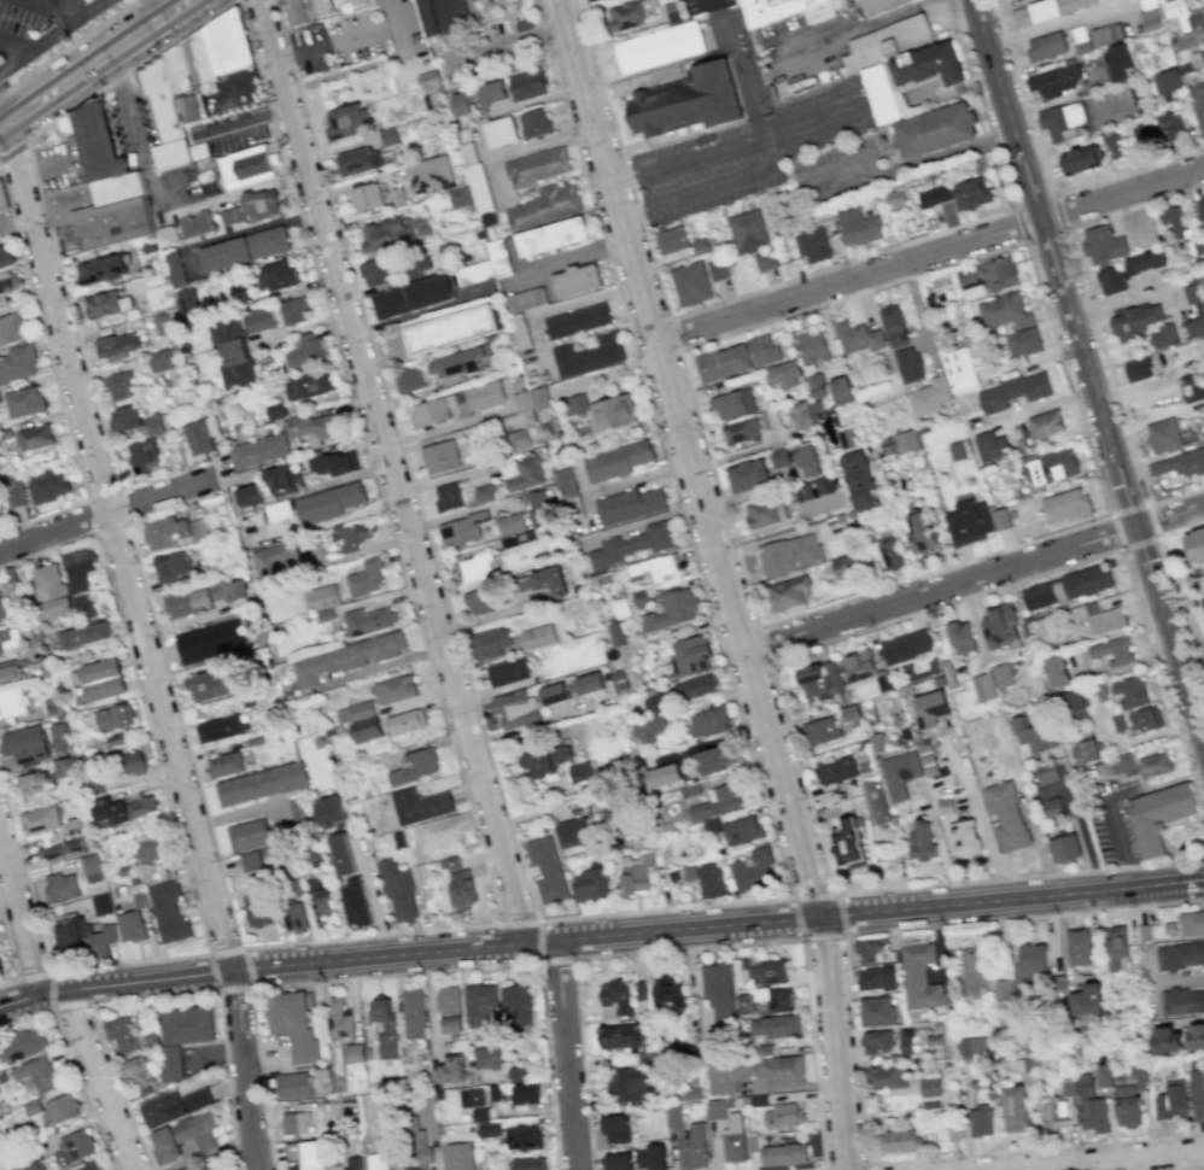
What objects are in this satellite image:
building: (607, 0)
building: (362, 4)
building: (882, 7)
road: (54, 8)
road: (156, 8)
building: (326, 8)
building: (771, 10)
building: (297, 12)
building: (1052, 12)
building: (631, 14)
building: (1183, 14)
building: (442, 16)
building: (1150, 19)
parking lot: (30, 21)
road: (1071, 23)
road: (878, 25)
road: (380, 29)
building: (1100, 35)
road: (53, 36)
building: (227, 42)
road: (513, 43)
building: (887, 43)
road: (68, 46)
parking lot: (802, 46)
building: (1045, 46)
road: (14, 47)
building: (659, 48)
road: (293, 51)
parking lot: (309, 51)
building: (1202, 54)
building: (1118, 60)
road: (92, 62)
road: (738, 65)
building: (927, 69)
road: (130, 70)
building: (189, 76)
building: (1054, 80)
building: (427, 81)
building: (1167, 81)
road: (242, 83)
building: (527, 84)
road: (953, 88)
parking lot: (233, 92)
building: (492, 93)
building: (881, 95)
road: (1023, 98)
building: (462, 103)
building: (692, 103)
road: (981, 103)
building: (1197, 103)
road: (2, 113)
parking lot: (822, 116)
building: (166, 118)
building: (1060, 118)
road: (241, 119)
building: (347, 121)
road: (808, 122)
building: (534, 123)
building: (1171, 124)
parking lot: (230, 129)
road: (134, 130)
building: (501, 131)
building: (935, 133)
building: (1142, 134)
building: (98, 142)
parking lot: (146, 147)
road: (11, 150)
road: (768, 152)
road: (922, 159)
building: (1081, 159)
building: (360, 162)
parking lot: (59, 163)
building: (246, 166)
building: (537, 166)
road: (42, 169)
parking lot: (843, 171)
road: (1128, 172)
building: (428, 175)
building: (477, 183)
road: (236, 193)
building: (971, 194)
building: (934, 195)
building: (364, 197)
building: (458, 197)
building: (2, 198)
road: (1033, 201)
building: (262, 205)
road: (1133, 205)
building: (545, 206)
building: (101, 210)
building: (1200, 210)
road: (1058, 211)
building: (232, 215)
road: (13, 218)
building: (1175, 221)
road: (1019, 222)
parking lot: (5, 223)
building: (195, 223)
building: (858, 227)
building: (394, 232)
building: (166, 234)
road: (1044, 234)
building: (551, 235)
building: (752, 238)
building: (671, 240)
building: (812, 244)
building: (1103, 244)
building: (244, 248)
road: (930, 253)
building: (6, 256)
building: (498, 257)
building: (1145, 262)
building: (174, 268)
building: (103, 269)
building: (718, 269)
building: (374, 271)
building: (474, 273)
building: (279, 275)
building: (987, 277)
building: (577, 280)
building: (1110, 280)
building: (8, 281)
building: (690, 283)
building: (411, 297)
building: (526, 299)
building: (106, 304)
building: (188, 304)
building: (1196, 305)
building: (293, 310)
road: (683, 311)
building: (1004, 311)
road: (70, 314)
road: (924, 316)
building: (259, 320)
building: (577, 320)
building: (1134, 321)
building: (163, 323)
building: (893, 324)
building: (451, 328)
building: (11, 329)
road: (672, 333)
road: (712, 337)
building: (858, 337)
building: (1162, 337)
building: (1023, 341)
building: (117, 344)
building: (812, 345)
building: (305, 350)
building: (232, 353)
building: (589, 355)
building: (736, 358)
building: (160, 361)
building: (460, 362)
building: (17, 364)
building: (907, 364)
road: (1105, 365)
building: (1136, 368)
building: (959, 369)
road: (1088, 369)
building: (783, 374)
road: (1068, 378)
building: (409, 379)
road: (54, 381)
building: (816, 385)
building: (119, 386)
building: (310, 386)
building: (1191, 386)
building: (1013, 390)
building: (841, 391)
building: (929, 396)
building: (24, 402)
building: (577, 403)
building: (733, 403)
building: (457, 404)
building: (276, 410)
building: (613, 413)
building: (800, 416)
building: (527, 417)
building: (124, 419)
building: (1045, 423)
building: (152, 426)
building: (315, 427)
building: (740, 431)
building: (1163, 434)
building: (201, 435)
building: (35, 437)
building: (906, 440)
building: (990, 447)
building: (258, 450)
building: (958, 450)
building: (144, 455)
building: (440, 456)
building: (778, 458)
building: (806, 458)
building: (616, 461)
building: (334, 463)
building: (1180, 464)
building: (1053, 467)
road: (393, 469)
building: (526, 473)
building: (748, 475)
building: (281, 479)
building: (858, 480)
building: (565, 484)
building: (47, 485)
building: (823, 485)
building: (13, 492)
building: (484, 493)
building: (249, 496)
building: (448, 496)
road: (1175, 496)
building: (333, 502)
building: (630, 504)
building: (1066, 505)
building: (538, 507)
road: (1128, 509)
road: (106, 510)
building: (277, 510)
building: (766, 513)
building: (999, 519)
road: (1152, 519)
building: (968, 520)
building: (510, 523)
road: (779, 527)
road: (1180, 528)
building: (461, 530)
road: (95, 531)
building: (174, 531)
building: (920, 532)
road: (1115, 532)
building: (351, 536)
road: (1138, 542)
building: (632, 544)
road: (115, 545)
building: (1196, 545)
building: (889, 550)
road: (362, 551)
building: (789, 554)
building: (275, 562)
building: (846, 566)
building: (171, 567)
building: (473, 568)
building: (655, 568)
building: (77, 569)
road: (934, 572)
road: (975, 577)
building: (366, 578)
building: (548, 579)
road: (725, 580)
building: (47, 581)
building: (522, 583)
building: (1068, 586)
road: (408, 589)
building: (235, 590)
building: (788, 592)
road: (1182, 595)
building: (321, 597)
building: (195, 598)
building: (478, 601)
building: (83, 604)
building: (57, 607)
building: (1, 609)
building: (672, 609)
building: (326, 615)
building: (1101, 619)
building: (368, 620)
building: (996, 625)
building: (82, 634)
building: (537, 637)
building: (960, 637)
road: (826, 639)
building: (10, 640)
building: (210, 642)
building: (490, 643)
road: (762, 643)
building: (906, 645)
building: (1112, 651)
building: (690, 656)
building: (346, 657)
building: (859, 666)
building: (507, 671)
building: (1057, 671)
building: (8, 672)
building: (1001, 675)
building: (101, 679)
building: (819, 679)
building: (589, 683)
road: (1162, 683)
building: (212, 684)
building: (695, 686)
building: (983, 686)
building: (394, 689)
building: (1129, 692)
building: (553, 694)
building: (654, 701)
building: (12, 702)
building: (1074, 703)
building: (512, 707)
building: (931, 708)
building: (112, 718)
building: (360, 720)
building: (1138, 720)
building: (404, 721)
building: (709, 721)
building: (221, 727)
building: (649, 729)
building: (819, 731)
road: (183, 733)
building: (1033, 735)
building: (59, 737)
road: (1136, 739)
building: (24, 744)
building: (1085, 751)
building: (717, 759)
building: (547, 760)
building: (133, 762)
building: (1122, 764)
building: (224, 765)
building: (1153, 765)
building: (415, 766)
building: (64, 767)
building: (835, 771)
building: (580, 772)
building: (1048, 772)
building: (662, 774)
building: (899, 774)
building: (34, 782)
building: (261, 783)
road: (1111, 797)
building: (718, 802)
building: (420, 805)
building: (1053, 807)
building: (123, 808)
building: (329, 812)
building: (1158, 813)
building: (1006, 815)
building: (39, 819)
parking lot: (1112, 819)
road: (1173, 821)
building: (742, 830)
building: (573, 832)
building: (247, 835)
building: (965, 838)
road: (1170, 838)
building: (922, 841)
fountain: (1191, 841)
building: (849, 844)
building: (150, 848)
building: (1065, 848)
building: (60, 850)
building: (341, 854)
road: (185, 864)
building: (251, 864)
building: (90, 867)
building: (547, 868)
building: (754, 870)
building: (688, 873)
road: (1018, 874)
building: (711, 881)
building: (590, 883)
building: (460, 884)
building: (59, 887)
building: (398, 893)
road: (812, 895)
road: (372, 897)
building: (318, 899)
building: (353, 902)
building: (100, 903)
building: (256, 905)
road: (653, 909)
building: (168, 911)
building: (293, 918)
road: (521, 923)
building: (1191, 923)
building: (130, 926)
road: (600, 934)
building: (84, 936)
road: (824, 937)
road: (703, 947)
building: (1079, 947)
road: (224, 948)
building: (1116, 948)
building: (866, 949)
road: (11, 955)
building: (1180, 955)
road: (555, 960)
building: (1030, 961)
building: (974, 969)
road: (407, 973)
road: (34, 975)
building: (920, 977)
road: (1185, 977)
building: (875, 978)
building: (744, 987)
road: (234, 988)
building: (717, 988)
building: (1003, 990)
building: (667, 993)
road: (151, 994)
building: (615, 999)
building: (1086, 999)
road: (62, 1000)
building: (448, 1000)
building: (1182, 1000)
road: (65, 1002)
building: (480, 1004)
building: (518, 1004)
building: (876, 1011)
building: (413, 1013)
building: (338, 1018)
building: (294, 1024)
building: (451, 1024)
building: (384, 1025)
building: (776, 1025)
building: (128, 1035)
building: (183, 1035)
building: (619, 1036)
building: (1196, 1036)
road: (853, 1037)
building: (1167, 1040)
building: (877, 1041)
building: (22, 1046)
building: (975, 1046)
road: (566, 1053)
building: (487, 1057)
road: (71, 1064)
road: (245, 1067)
building: (450, 1069)
building: (754, 1072)
building: (36, 1074)
building: (516, 1074)
building: (1103, 1075)
building: (138, 1076)
building: (887, 1077)
building: (293, 1084)
building: (629, 1084)
building: (930, 1087)
building: (526, 1094)
building: (1198, 1094)
building: (1171, 1100)
building: (474, 1101)
building: (174, 1105)
building: (1089, 1106)
building: (1127, 1106)
building: (62, 1107)
building: (714, 1108)
building: (1016, 1108)
building: (1053, 1112)
building: (783, 1115)
building: (981, 1121)
building: (296, 1123)
building: (490, 1129)
building: (615, 1129)
building: (185, 1135)
road: (432, 1137)
building: (525, 1137)
building: (733, 1137)
building: (688, 1139)
building: (898, 1141)
building: (74, 1147)
building: (306, 1153)
building: (784, 1154)
building: (457, 1156)
building: (650, 1157)
road: (1109, 1160)
building: (619, 1162)
building: (353, 1163)
building: (376, 1163)
building: (527, 1163)
building: (31, 1164)
road: (848, 1165)
building: (89, 1166)
building: (188, 1168)
road: (1051, 1168)
building: (218, 1169)
building: (419, 1169)
road: (1196, 1169)

